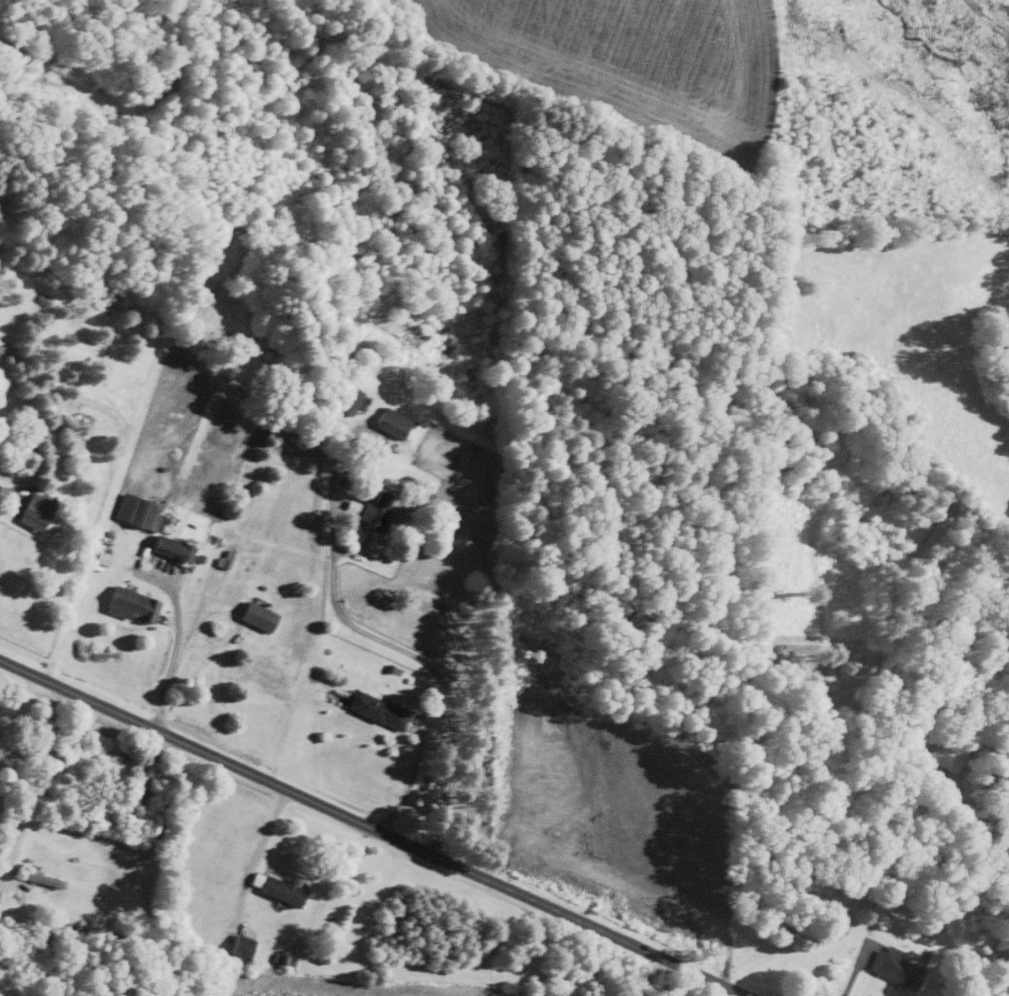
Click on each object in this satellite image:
building: (347, 400)
building: (389, 422)
building: (31, 509)
building: (373, 511)
building: (149, 526)
building: (220, 562)
building: (128, 604)
building: (254, 615)
road: (175, 652)
road: (414, 654)
building: (374, 709)
road: (36, 780)
road: (370, 824)
building: (274, 886)
building: (237, 948)
building: (281, 959)
building: (892, 966)

